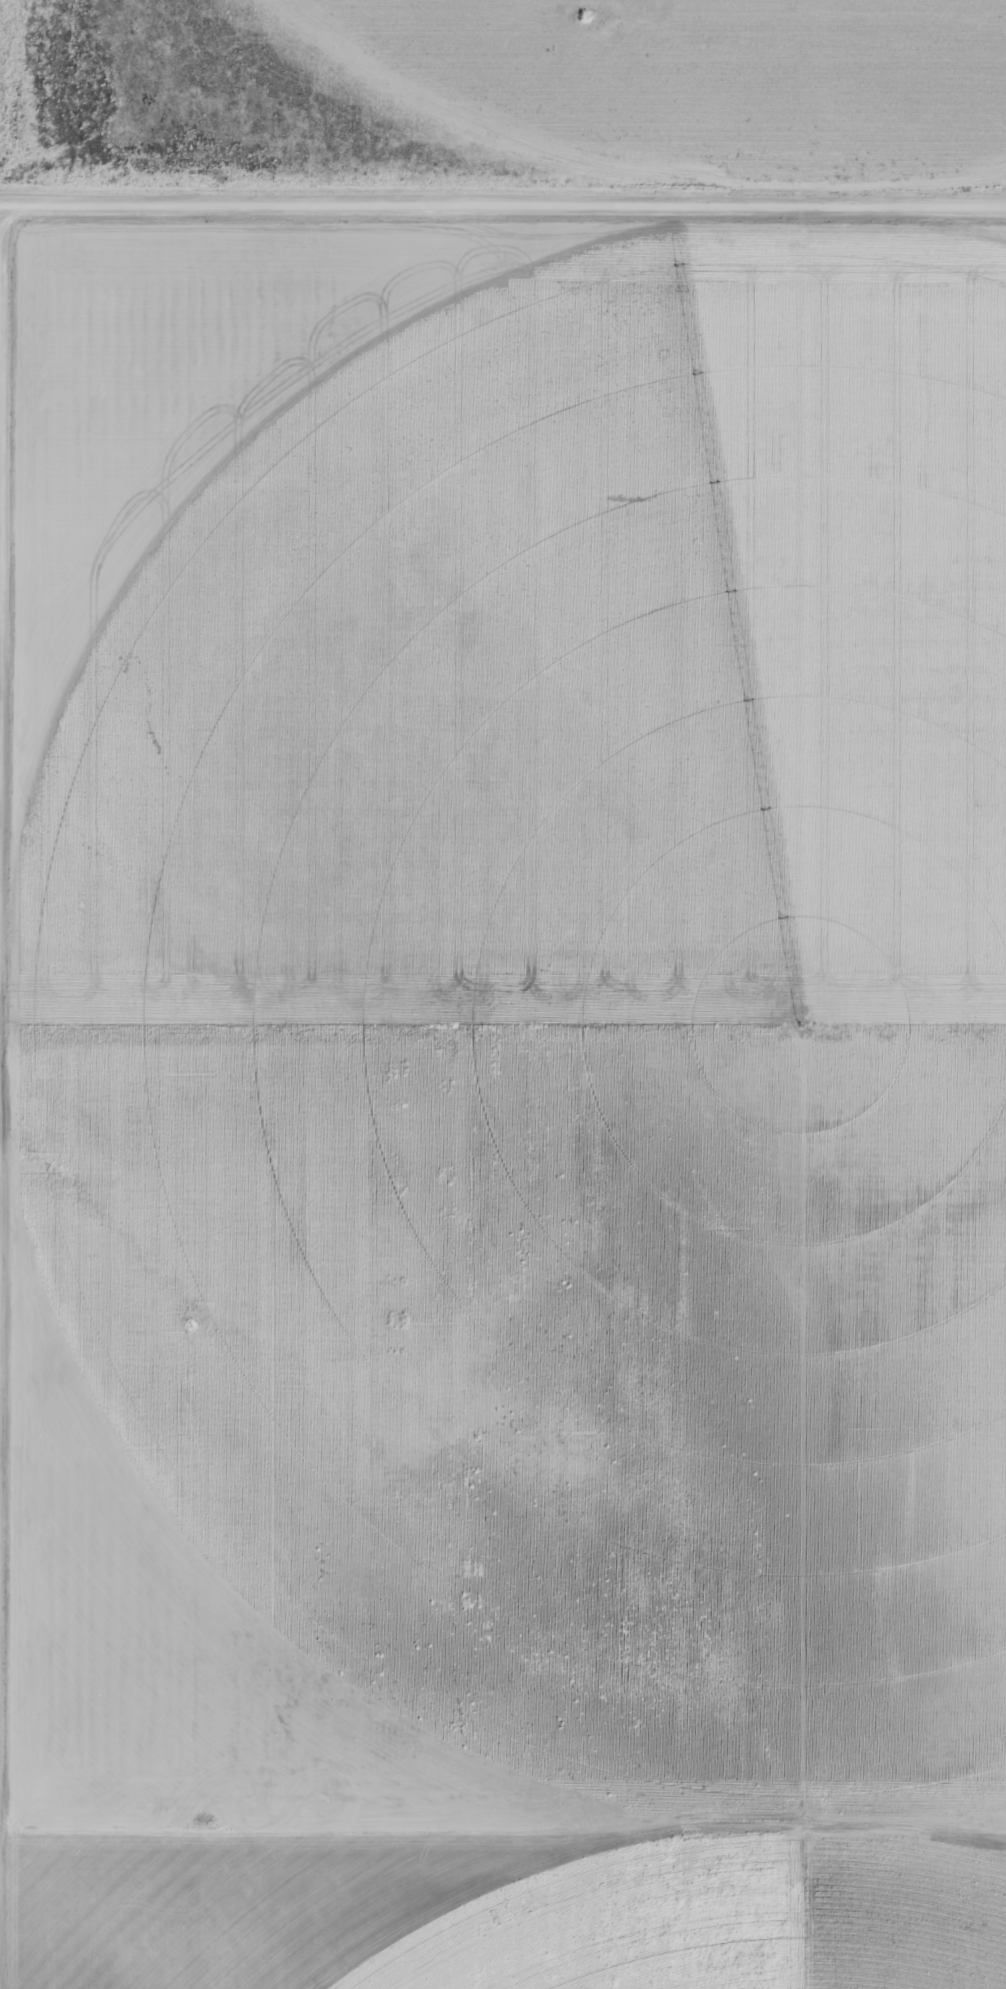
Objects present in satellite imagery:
road: (503, 193)

